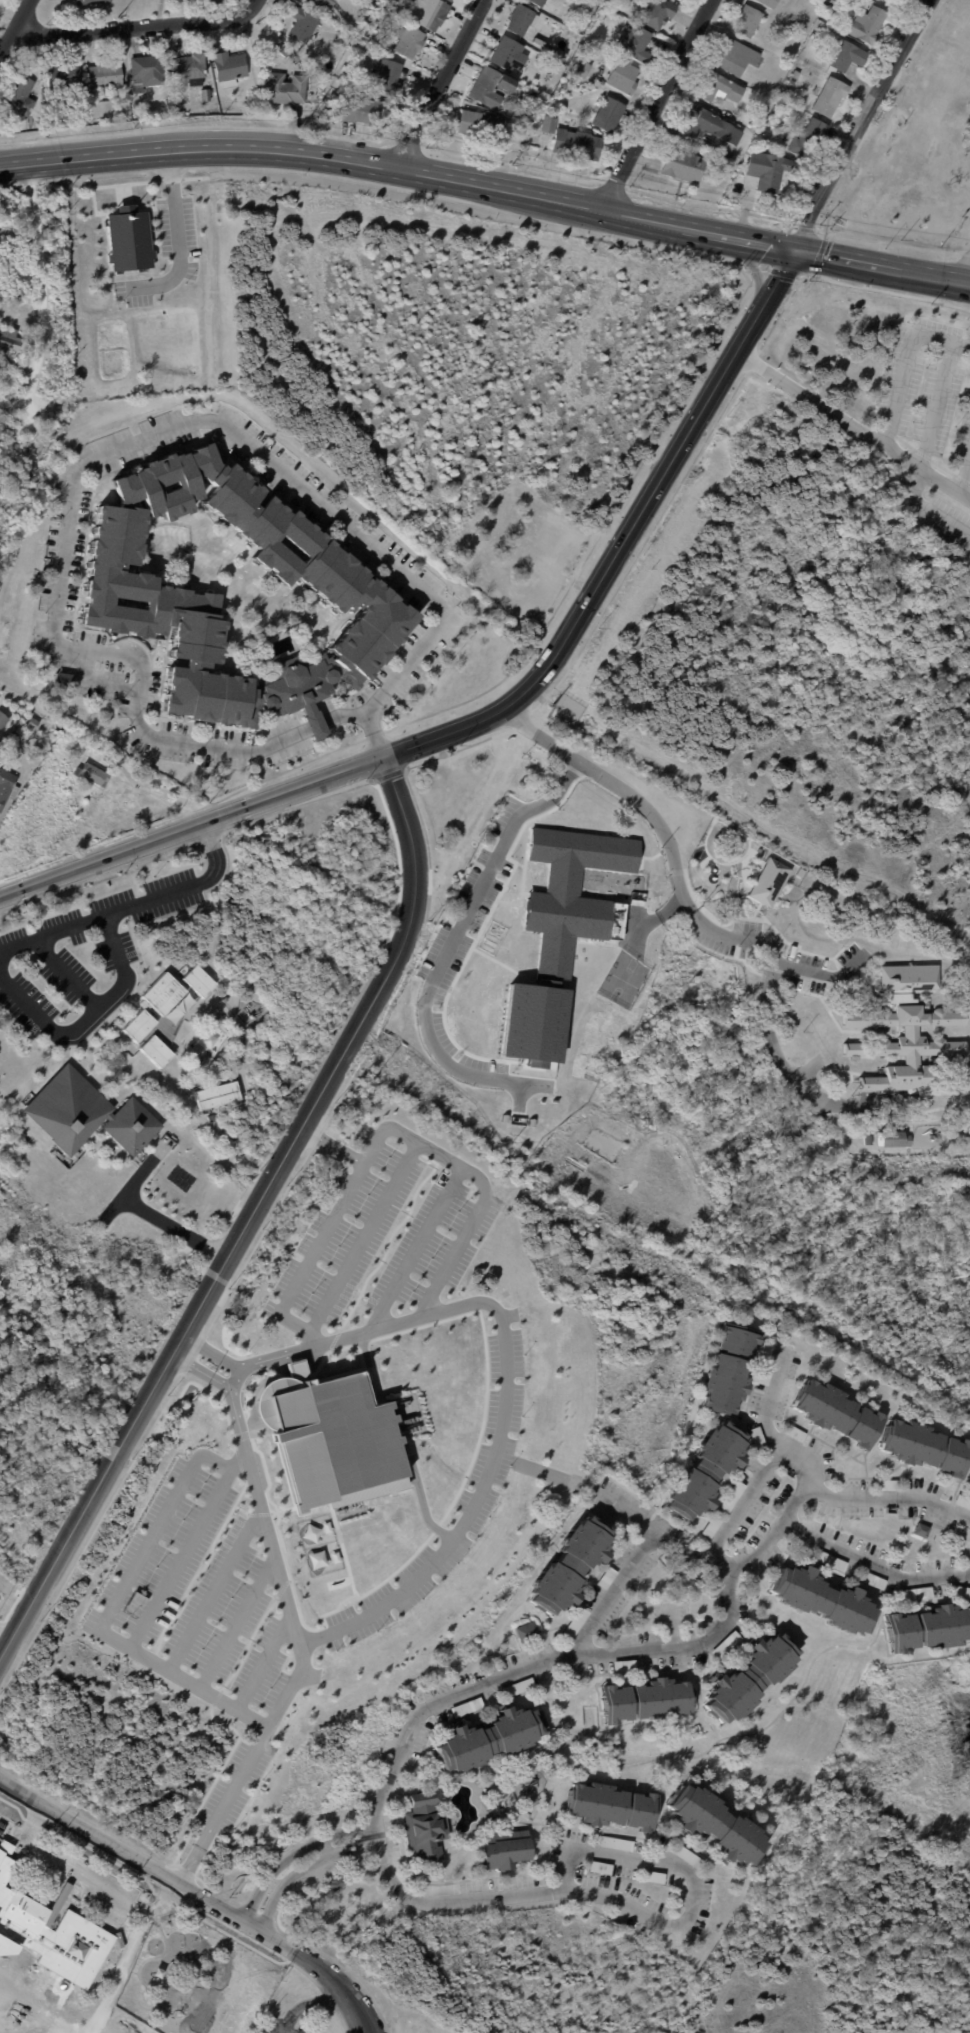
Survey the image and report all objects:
building: (452, 0)
building: (884, 0)
building: (91, 2)
building: (540, 2)
building: (322, 3)
building: (771, 3)
building: (834, 5)
building: (625, 9)
building: (605, 10)
building: (432, 13)
building: (659, 13)
building: (522, 20)
building: (597, 21)
building: (750, 21)
building: (304, 24)
building: (873, 24)
road: (141, 26)
road: (14, 31)
building: (785, 31)
building: (814, 36)
building: (410, 41)
building: (635, 42)
building: (271, 50)
building: (596, 52)
building: (286, 53)
building: (510, 55)
building: (849, 56)
building: (738, 57)
building: (345, 67)
building: (191, 68)
building: (230, 68)
building: (580, 68)
building: (148, 70)
building: (66, 74)
building: (797, 74)
building: (106, 75)
building: (390, 77)
building: (548, 77)
building: (624, 77)
road: (441, 84)
building: (793, 84)
building: (312, 86)
building: (567, 86)
building: (492, 87)
building: (721, 88)
building: (287, 89)
building: (564, 91)
building: (205, 93)
building: (22, 97)
building: (832, 97)
road: (655, 105)
building: (765, 108)
building: (366, 110)
building: (610, 114)
building: (64, 122)
building: (774, 123)
building: (40, 124)
road: (865, 124)
building: (482, 125)
building: (550, 125)
building: (711, 126)
building: (811, 139)
building: (578, 144)
road: (345, 159)
building: (684, 165)
building: (769, 170)
building: (862, 171)
parking lot: (178, 233)
road: (176, 235)
building: (128, 238)
road: (740, 238)
traffic signals: (796, 249)
road: (847, 259)
road: (753, 266)
road: (934, 277)
parking lot: (133, 291)
road: (41, 294)
building: (9, 340)
road: (907, 361)
road: (937, 404)
road: (28, 407)
parking lot: (33, 411)
parking lot: (932, 423)
road: (17, 424)
road: (853, 424)
road: (55, 438)
road: (131, 444)
road: (669, 462)
road: (965, 478)
road: (928, 507)
building: (137, 594)
building: (64, 678)
flagpole: (398, 711)
road: (342, 714)
flagpole: (395, 714)
road: (490, 714)
flagpole: (392, 719)
building: (3, 720)
building: (34, 723)
road: (314, 727)
road: (406, 747)
building: (95, 774)
building: (92, 786)
building: (7, 787)
building: (91, 803)
road: (191, 826)
road: (676, 866)
building: (768, 882)
road: (187, 888)
road: (460, 928)
building: (559, 933)
road: (53, 936)
parking lot: (467, 945)
parking lot: (80, 946)
park: (626, 974)
building: (908, 977)
building: (196, 980)
building: (161, 993)
building: (176, 1008)
road: (89, 1023)
building: (136, 1025)
road: (772, 1044)
building: (906, 1049)
building: (153, 1050)
building: (214, 1095)
building: (87, 1113)
building: (891, 1137)
building: (865, 1140)
road: (382, 1203)
road: (153, 1214)
road: (249, 1216)
road: (472, 1218)
road: (325, 1229)
parking lot: (381, 1236)
road: (415, 1250)
building: (728, 1368)
building: (765, 1368)
building: (834, 1414)
building: (792, 1433)
building: (755, 1436)
building: (328, 1438)
building: (923, 1446)
road: (777, 1460)
building: (700, 1471)
building: (968, 1478)
parking lot: (487, 1481)
building: (884, 1485)
road: (482, 1490)
building: (731, 1496)
road: (869, 1499)
building: (961, 1501)
road: (423, 1504)
road: (161, 1518)
building: (709, 1527)
building: (624, 1530)
building: (918, 1531)
road: (181, 1558)
building: (315, 1559)
road: (873, 1559)
road: (722, 1560)
building: (828, 1561)
building: (570, 1565)
building: (604, 1578)
building: (872, 1581)
road: (615, 1587)
road: (214, 1589)
building: (956, 1591)
building: (912, 1593)
parking lot: (199, 1595)
building: (818, 1599)
building: (134, 1603)
building: (574, 1622)
road: (237, 1623)
building: (928, 1627)
building: (526, 1631)
road: (683, 1642)
building: (724, 1644)
road: (264, 1662)
building: (622, 1665)
road: (183, 1676)
building: (750, 1678)
building: (516, 1687)
building: (650, 1700)
building: (466, 1707)
building: (489, 1739)
road: (245, 1764)
parking lot: (235, 1784)
building: (613, 1806)
building: (497, 1809)
building: (424, 1825)
building: (720, 1826)
road: (348, 1839)
building: (615, 1843)
building: (505, 1850)
building: (687, 1856)
road: (382, 1861)
road: (645, 1863)
road: (274, 1866)
building: (599, 1867)
road: (159, 1872)
building: (653, 1877)
parking lot: (77, 1878)
road: (87, 1880)
road: (289, 1881)
building: (336, 1882)
building: (50, 1935)
road: (351, 1994)
road: (310, 2004)

